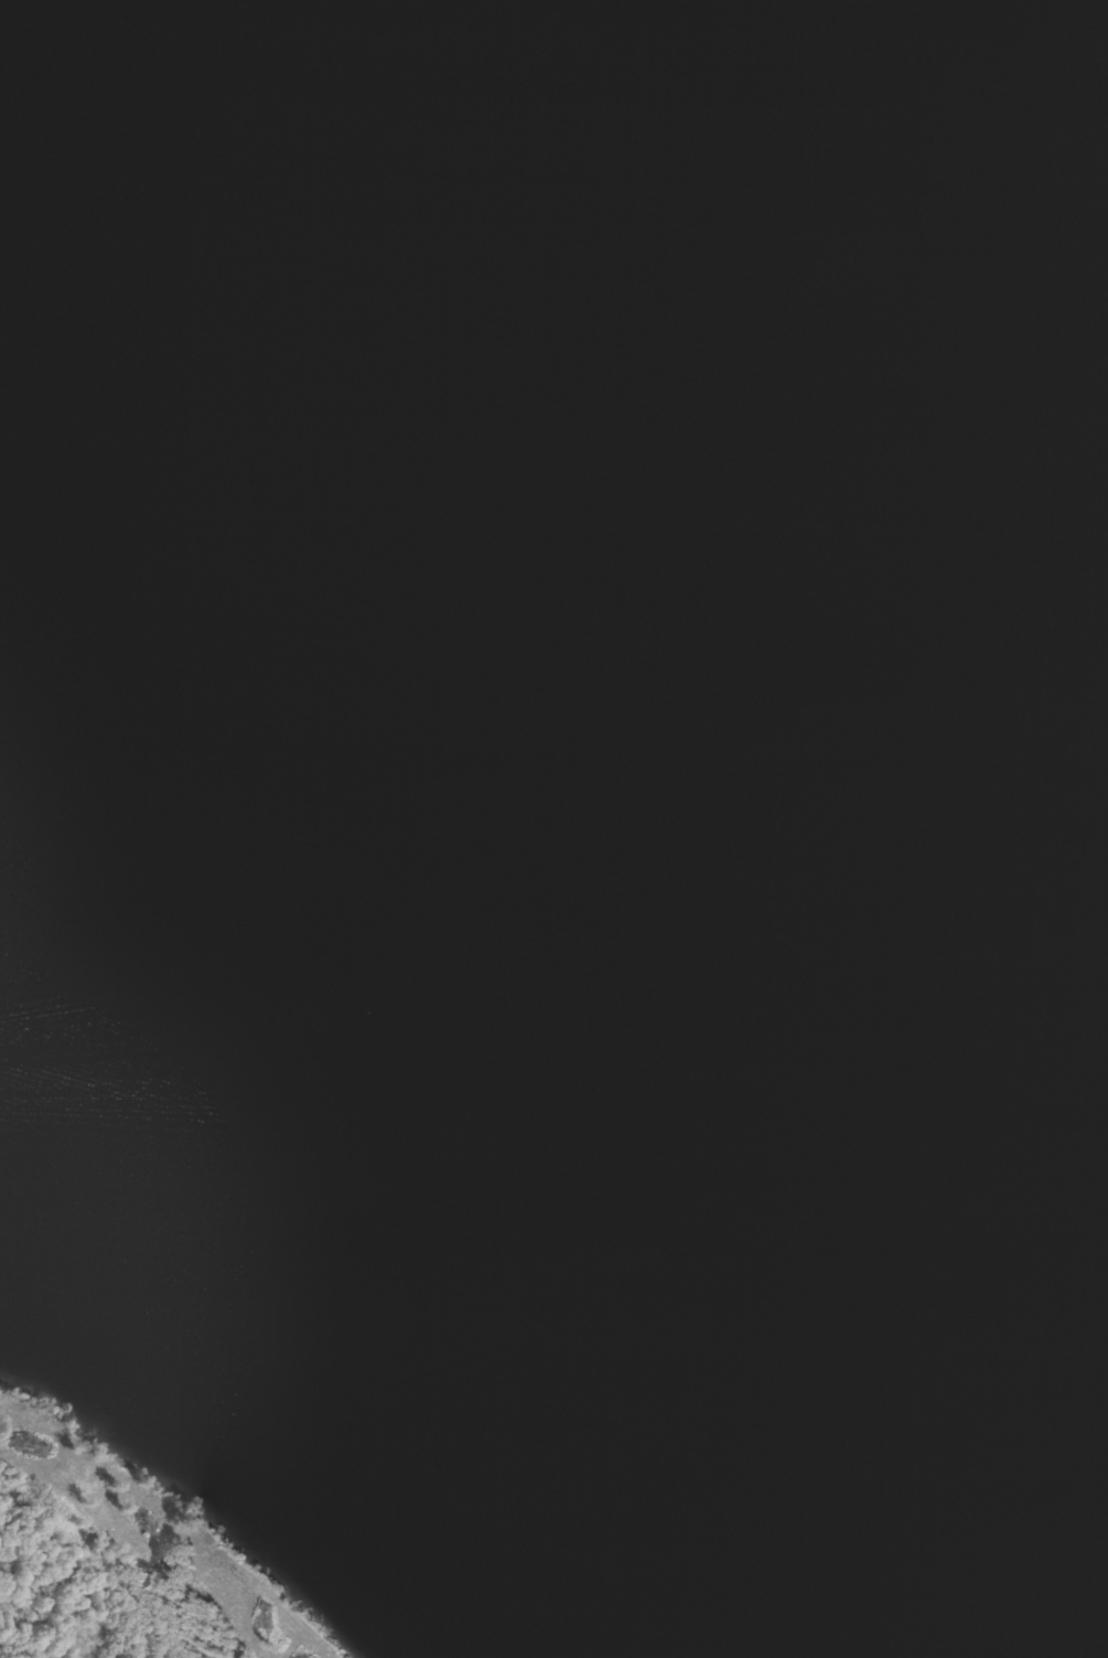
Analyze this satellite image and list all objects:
road: (108, 1563)

